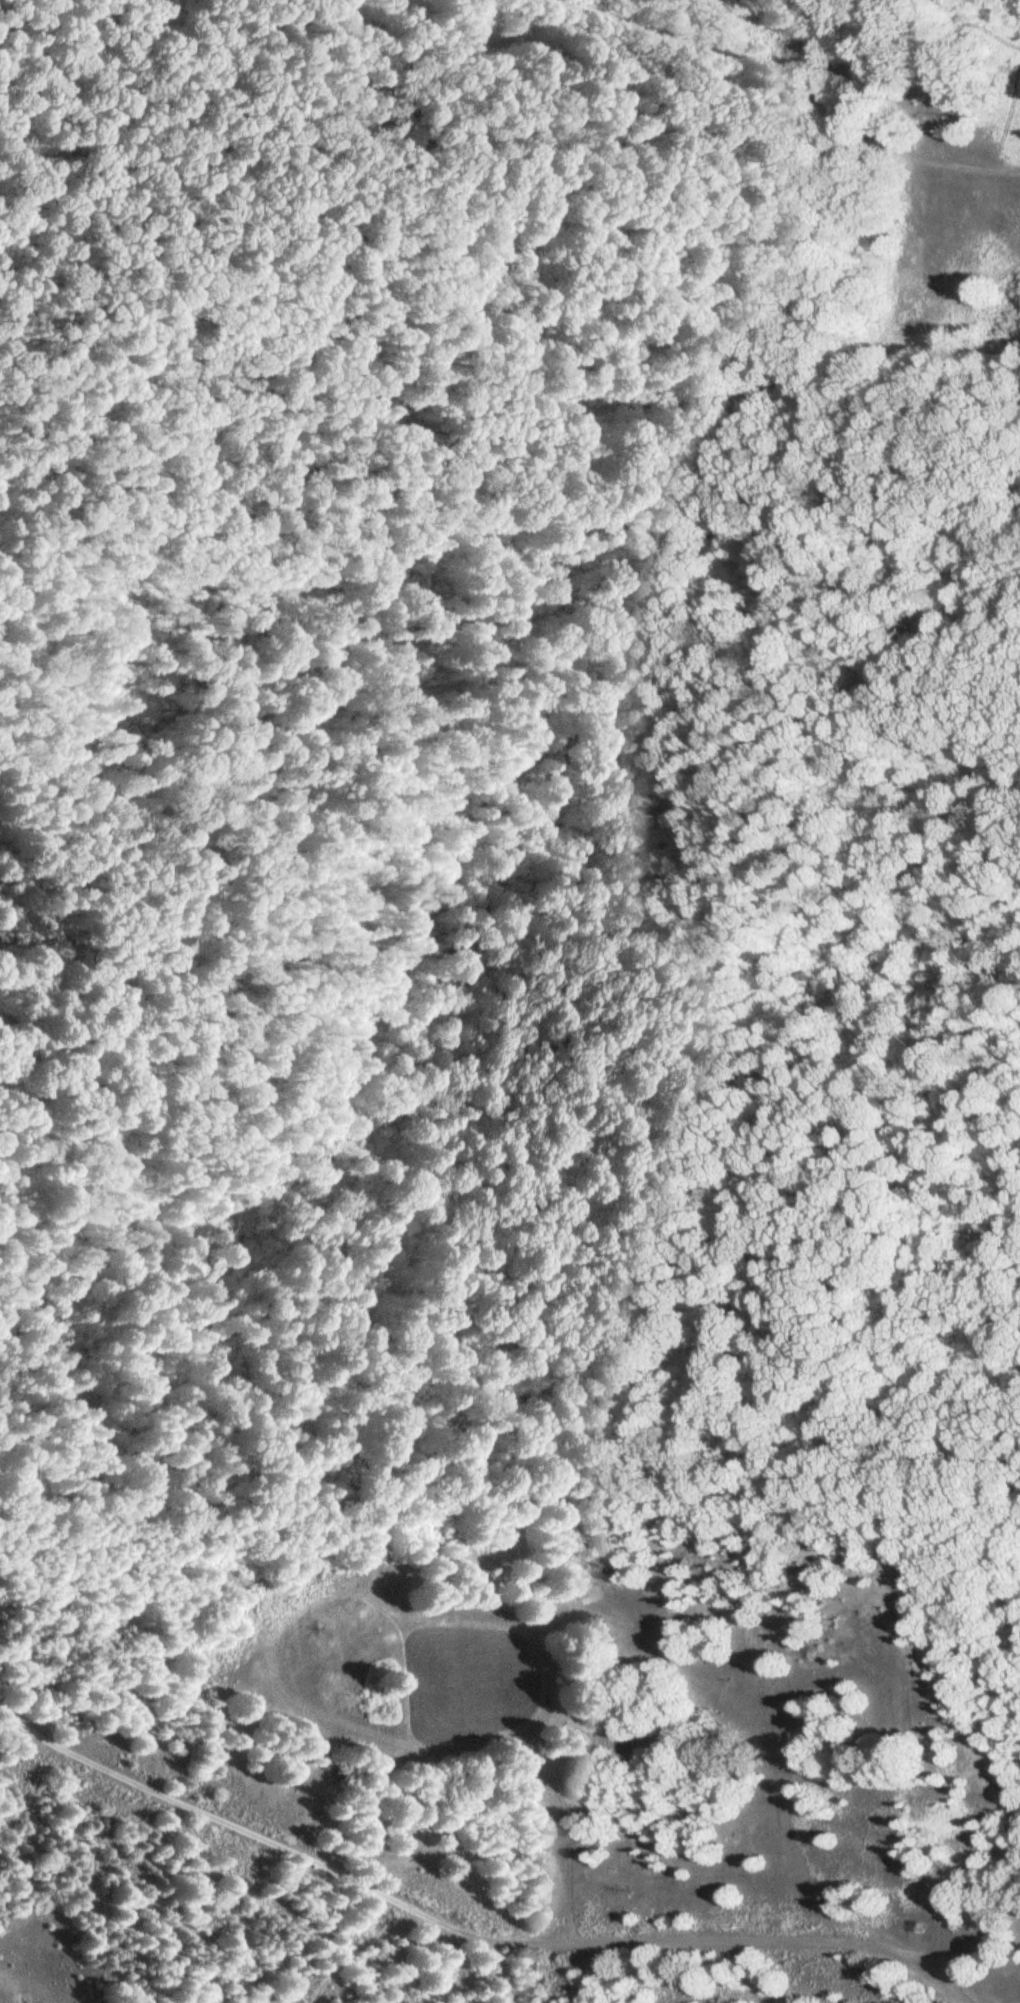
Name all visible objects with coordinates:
road: (472, 1932)

